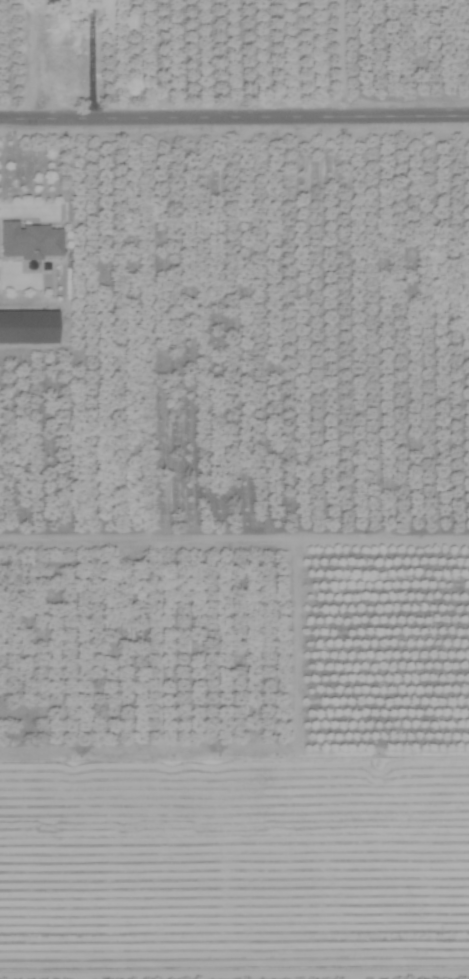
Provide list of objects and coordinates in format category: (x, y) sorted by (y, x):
road: (90, 61)
road: (234, 121)
building: (29, 241)
road: (234, 539)

